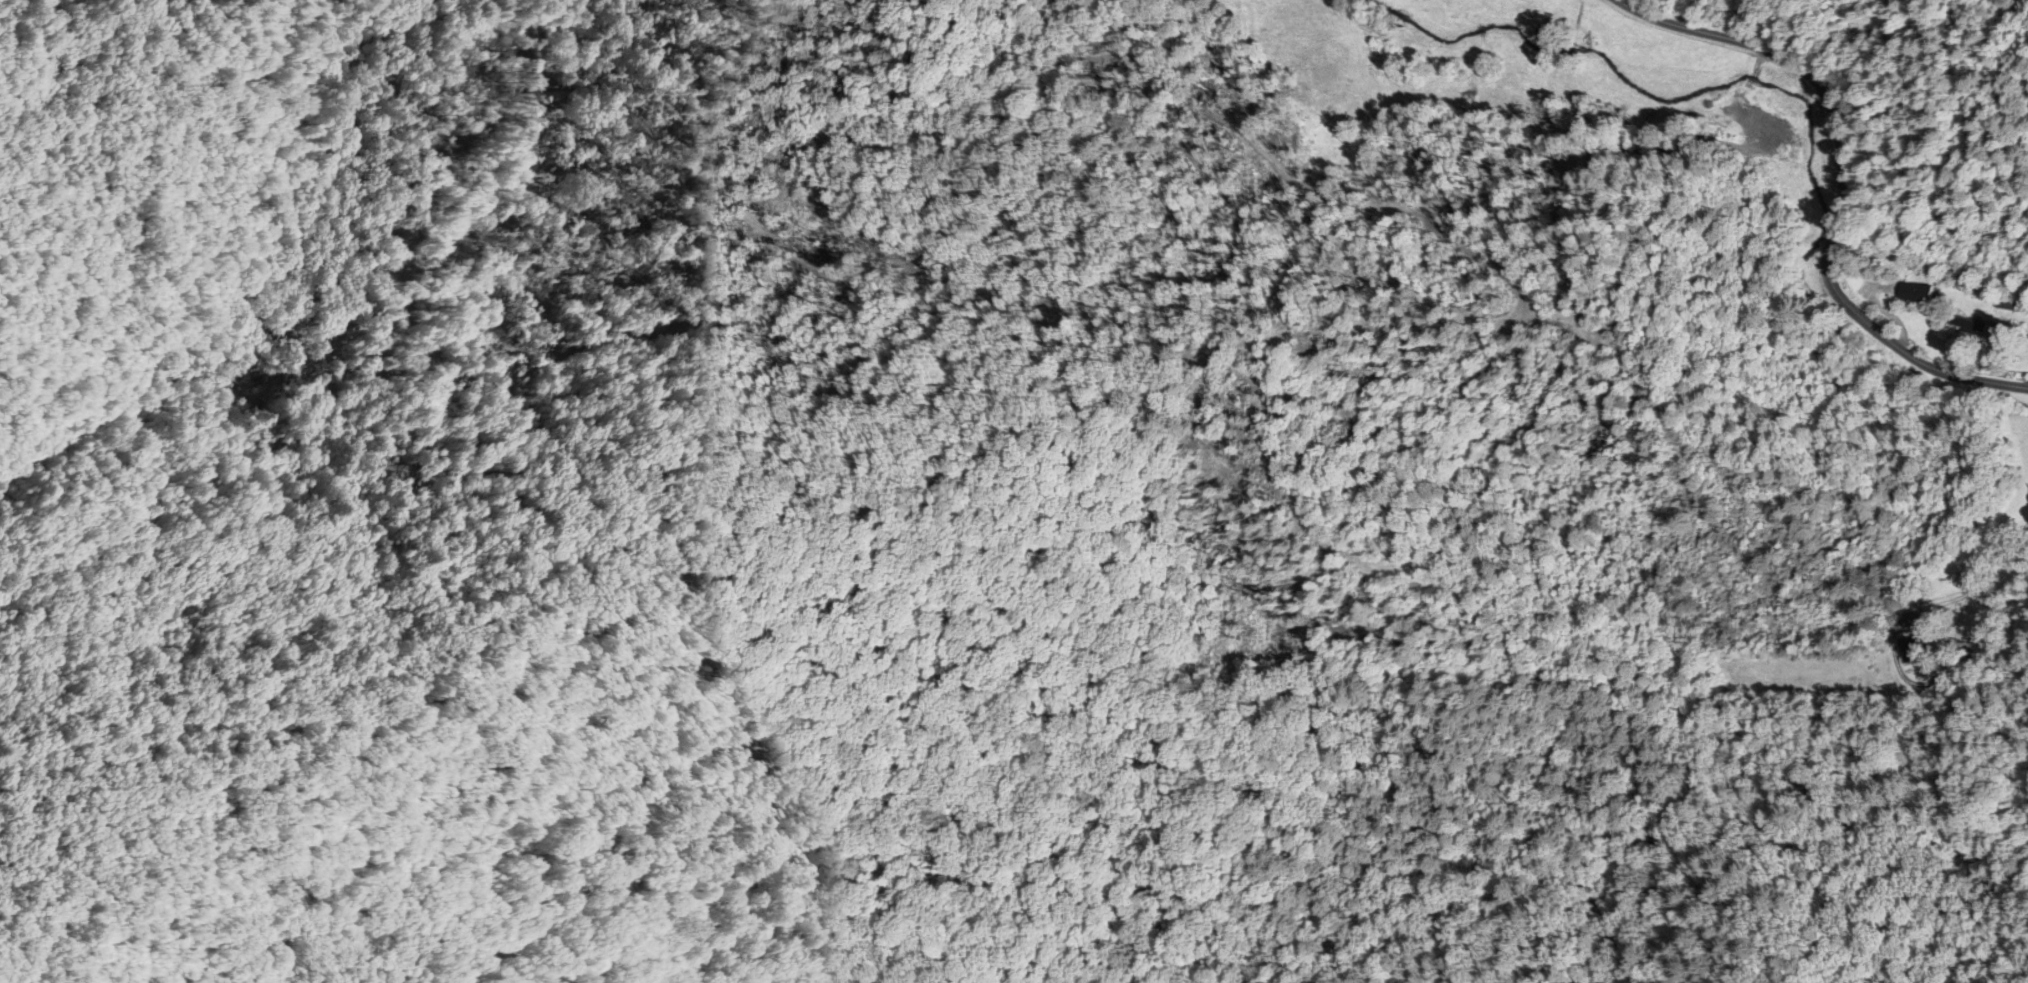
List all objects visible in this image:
road: (1838, 190)
building: (1914, 292)
building: (2004, 302)
building: (1908, 647)

